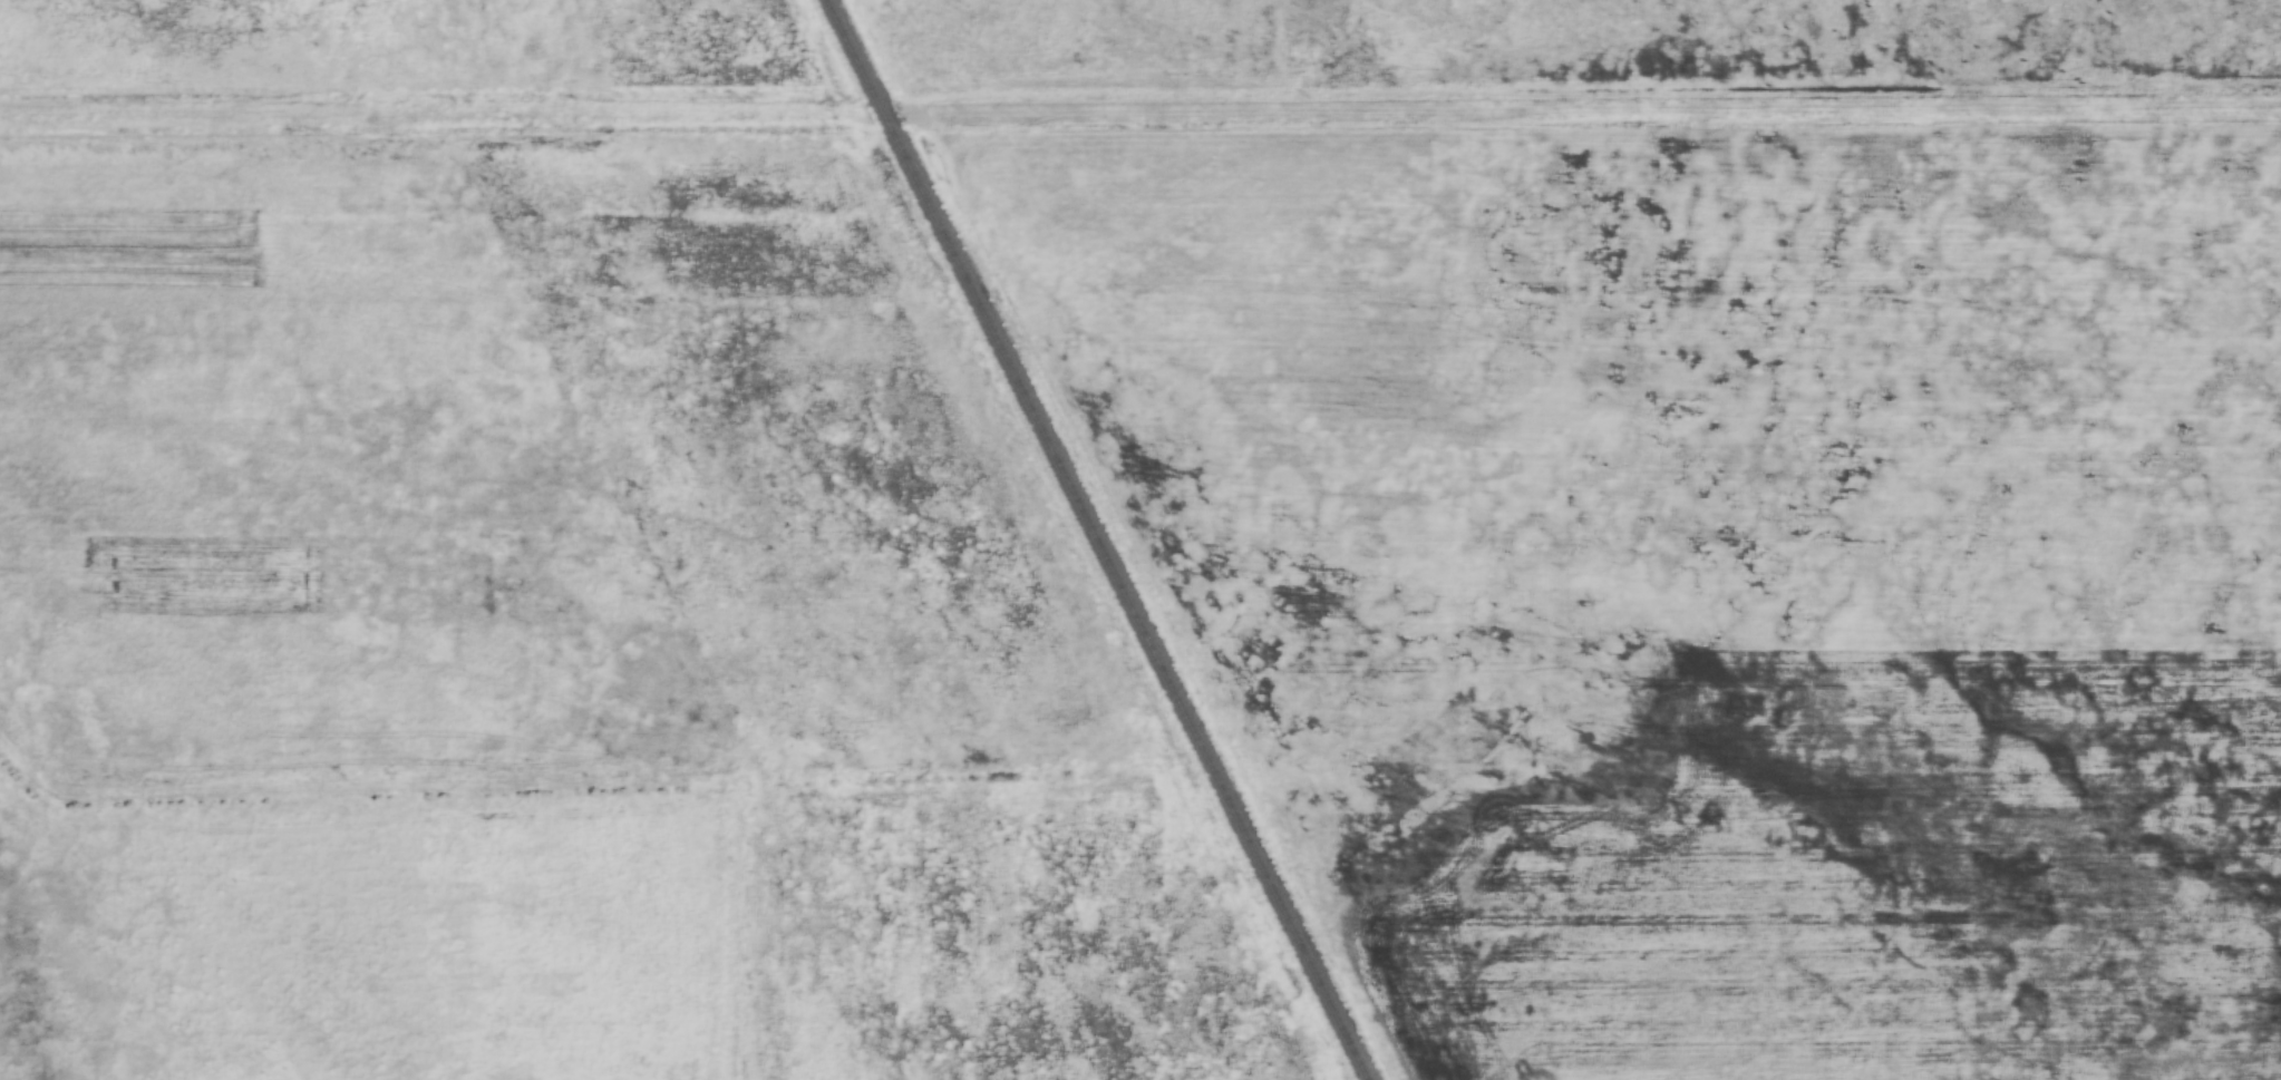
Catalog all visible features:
road: (1605, 110)
road: (417, 121)
railway: (1093, 541)

